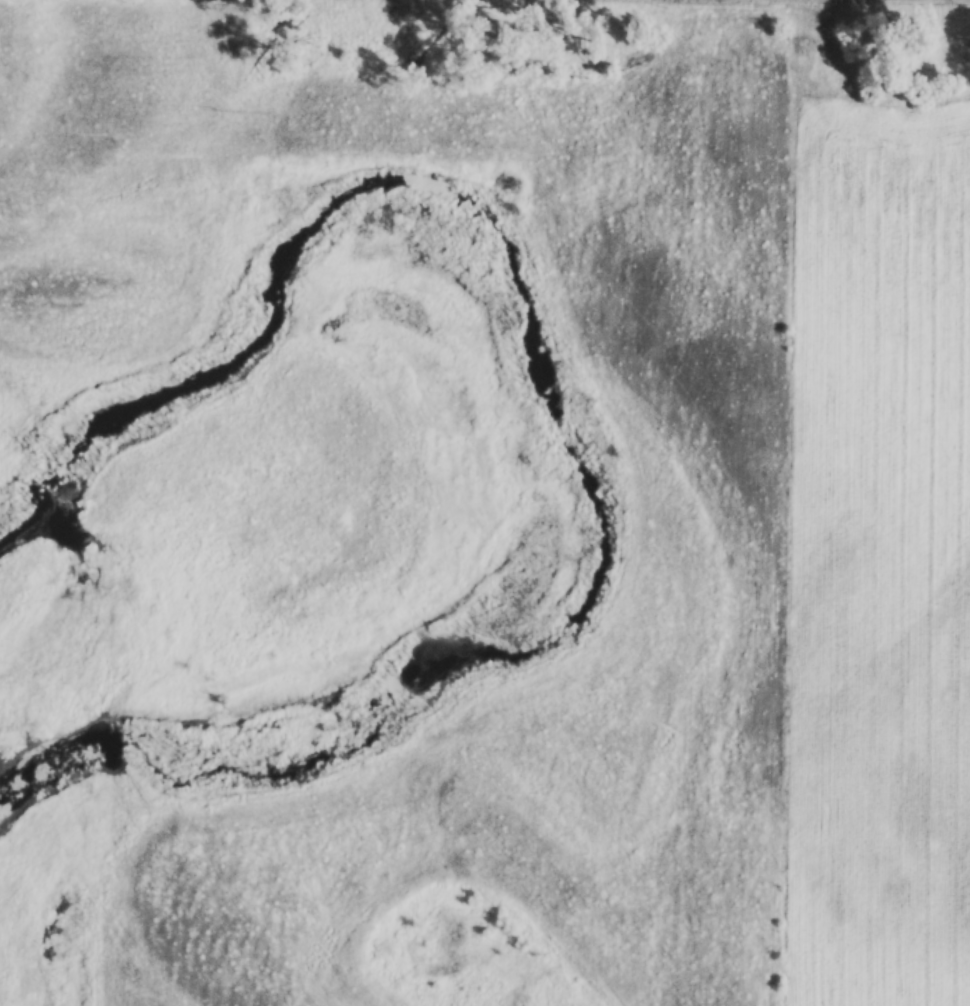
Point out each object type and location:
river: (592, 417)

